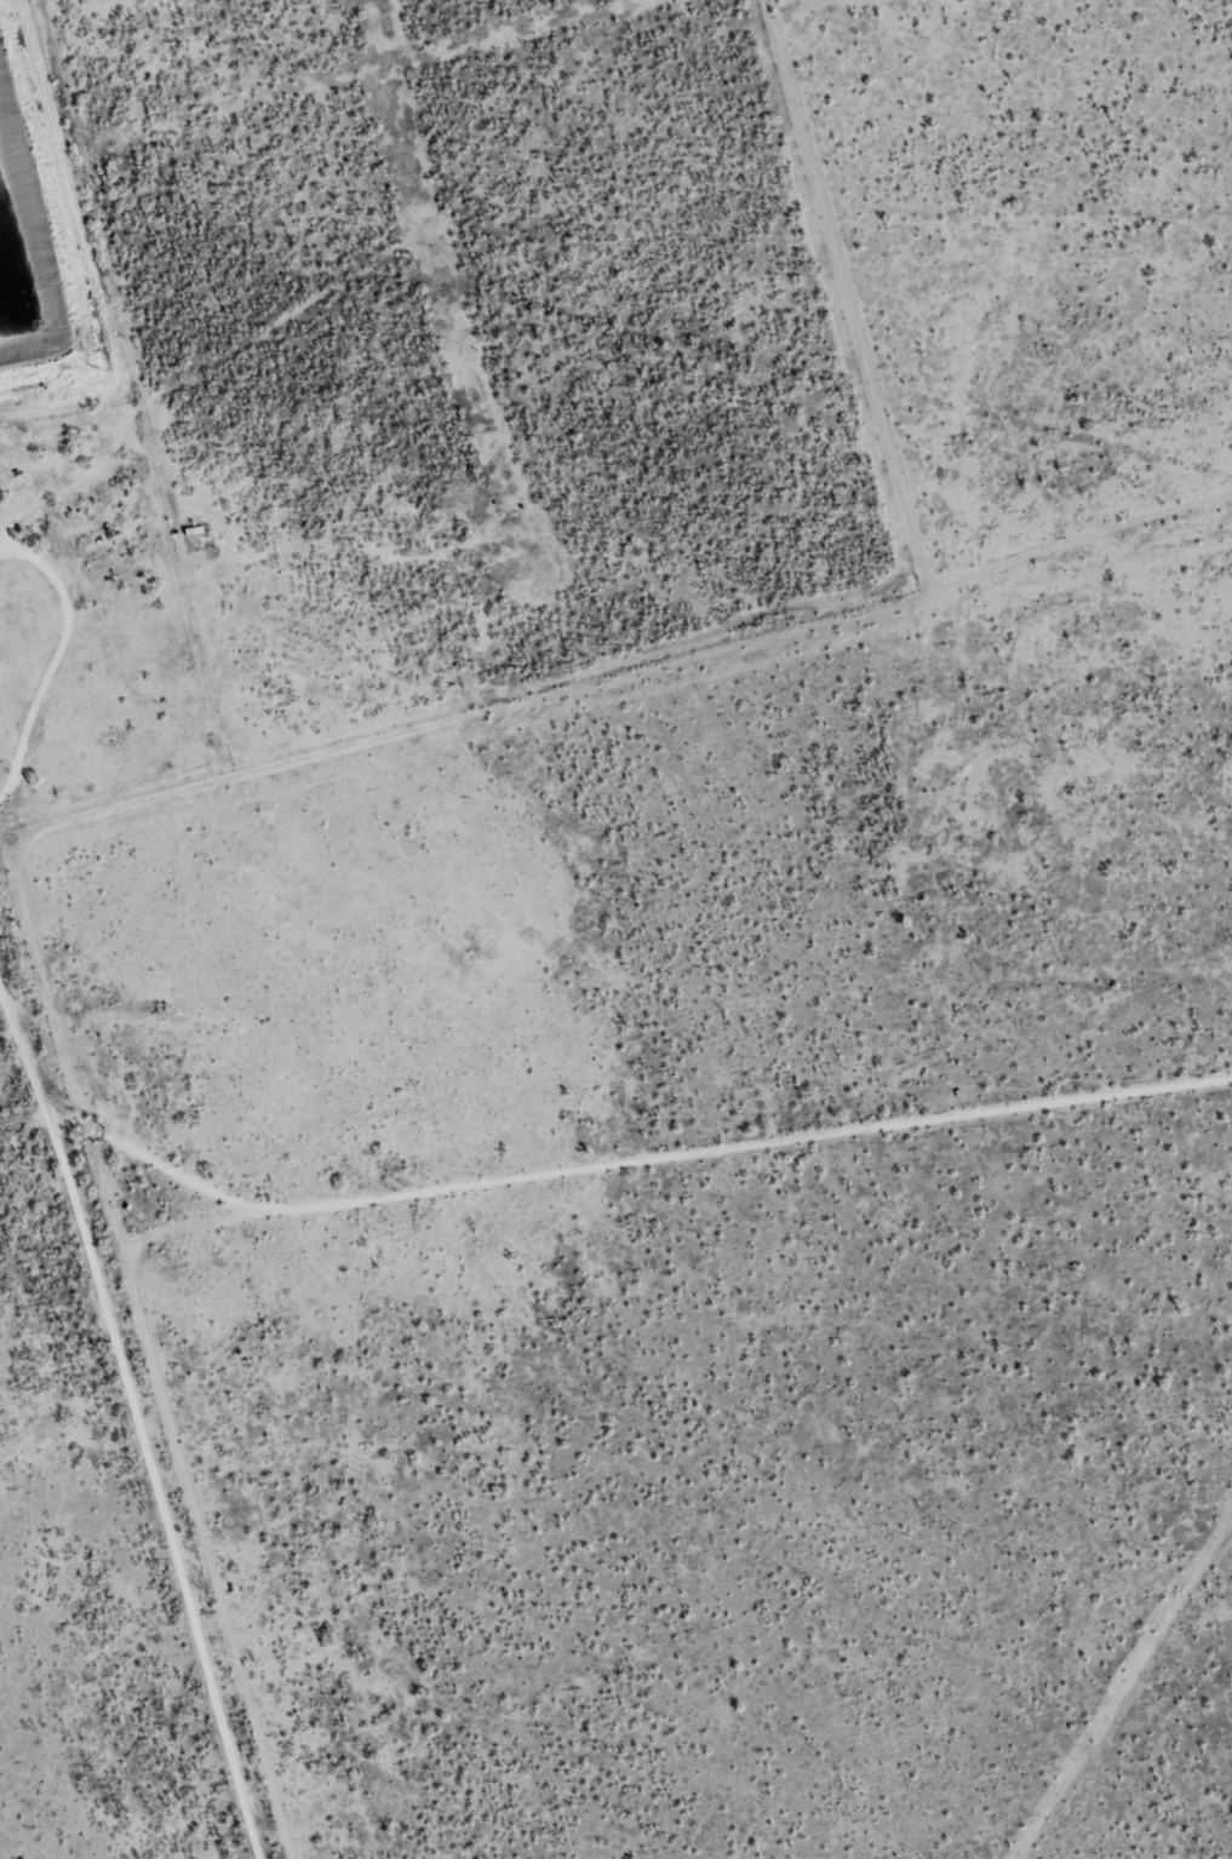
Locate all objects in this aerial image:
road: (7, 996)
road: (216, 1350)

